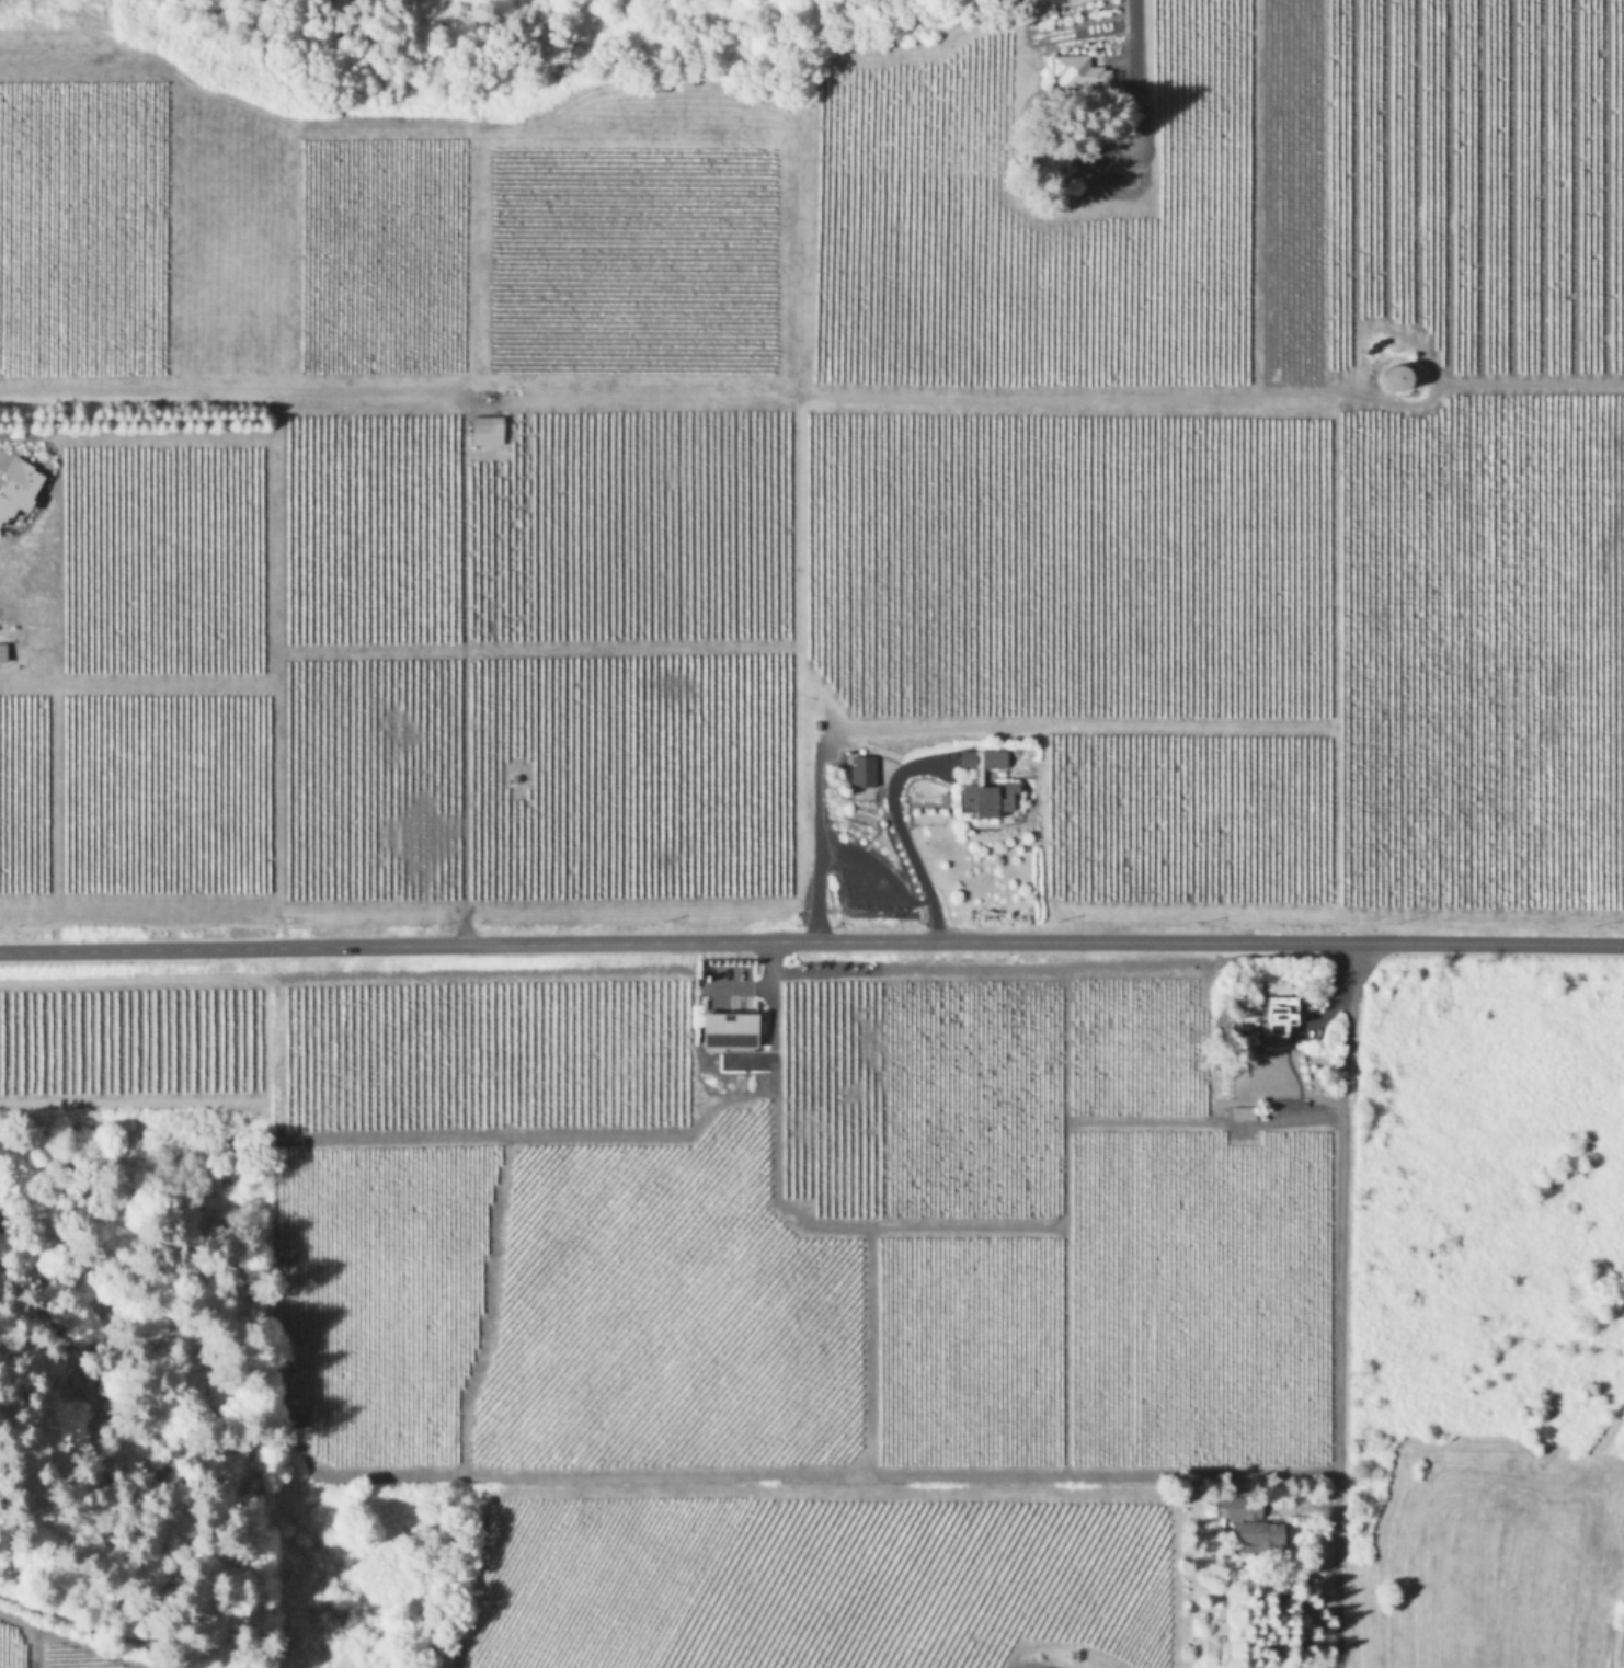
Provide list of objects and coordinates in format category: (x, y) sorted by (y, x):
road: (1135, 56)
building: (1076, 70)
building: (1394, 375)
building: (485, 429)
building: (16, 483)
building: (2, 650)
road: (462, 686)
building: (862, 769)
building: (987, 797)
road: (899, 839)
road: (817, 857)
road: (811, 940)
road: (757, 987)
building: (1278, 1013)
building: (727, 1028)
building: (1243, 1111)
road: (1341, 1303)
building: (1249, 1521)
road: (1621, 1653)

